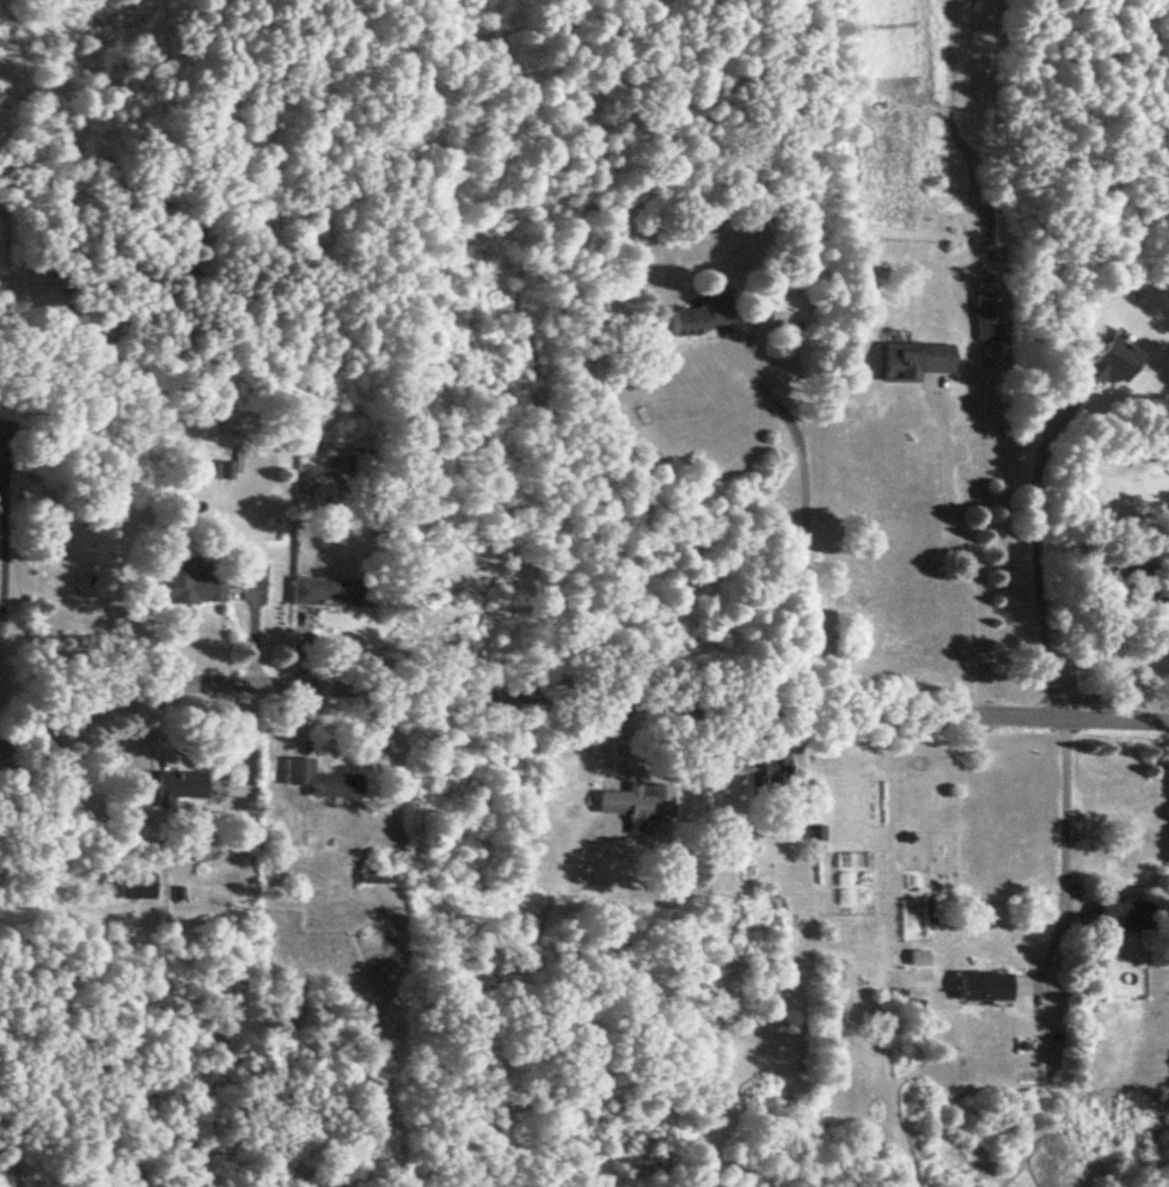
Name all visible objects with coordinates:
building: (778, 307)
building: (984, 314)
building: (693, 317)
building: (1108, 360)
building: (2, 432)
road: (801, 515)
road: (965, 543)
road: (1033, 551)
road: (1, 555)
building: (184, 580)
building: (324, 591)
road: (1107, 640)
road: (590, 695)
road: (11, 738)
building: (773, 766)
building: (318, 778)
building: (186, 783)
building: (636, 803)
road: (1060, 845)
building: (374, 874)
building: (133, 885)
building: (1122, 913)
building: (916, 955)
building: (979, 985)

